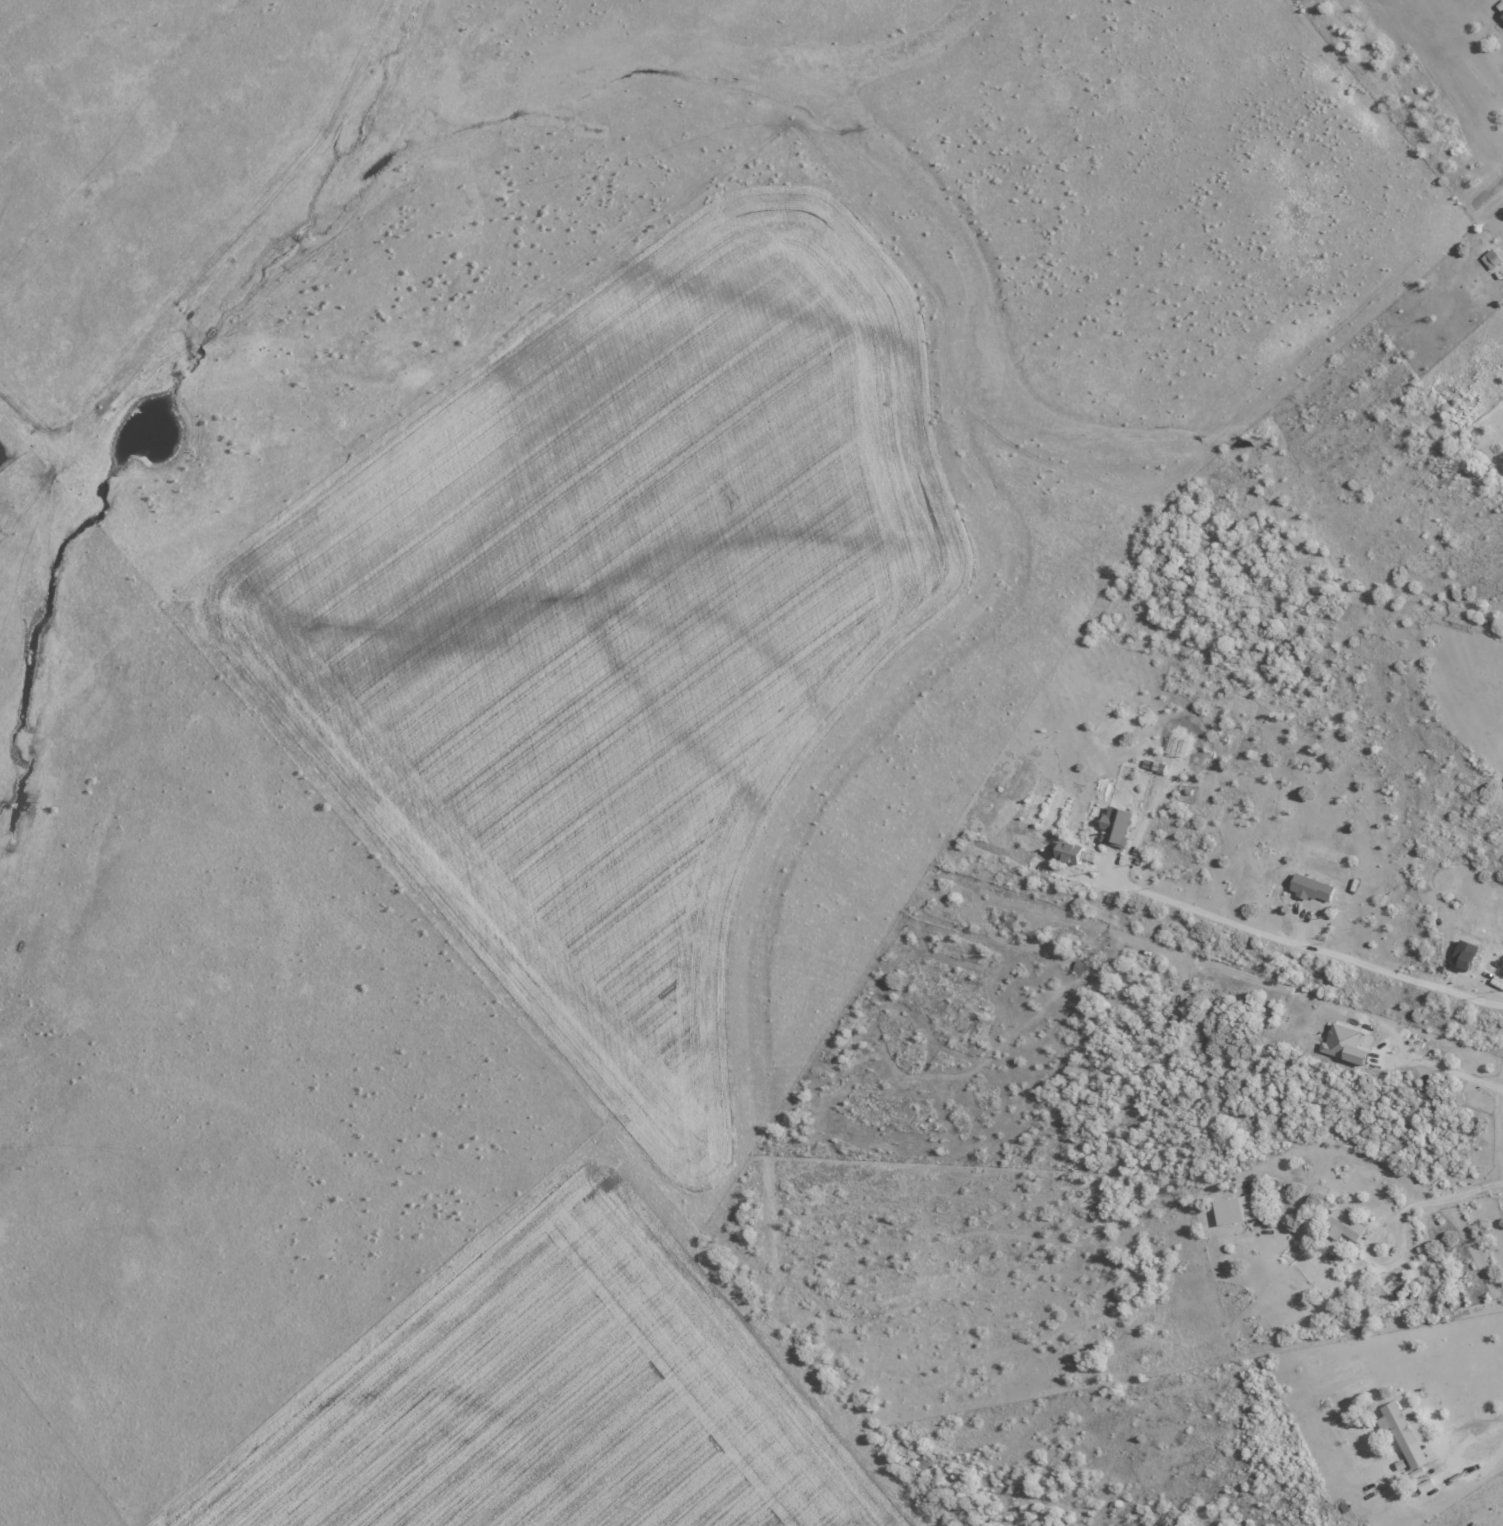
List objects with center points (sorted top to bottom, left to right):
building: (1501, 16)
road: (1486, 194)
building: (1490, 258)
building: (1114, 825)
building: (1067, 851)
building: (1309, 887)
road: (1296, 941)
building: (1462, 953)
building: (1343, 1043)
road: (1452, 1072)
road: (1472, 1192)
building: (1232, 1209)
building: (1342, 1225)
road: (1473, 1427)
building: (1402, 1431)

